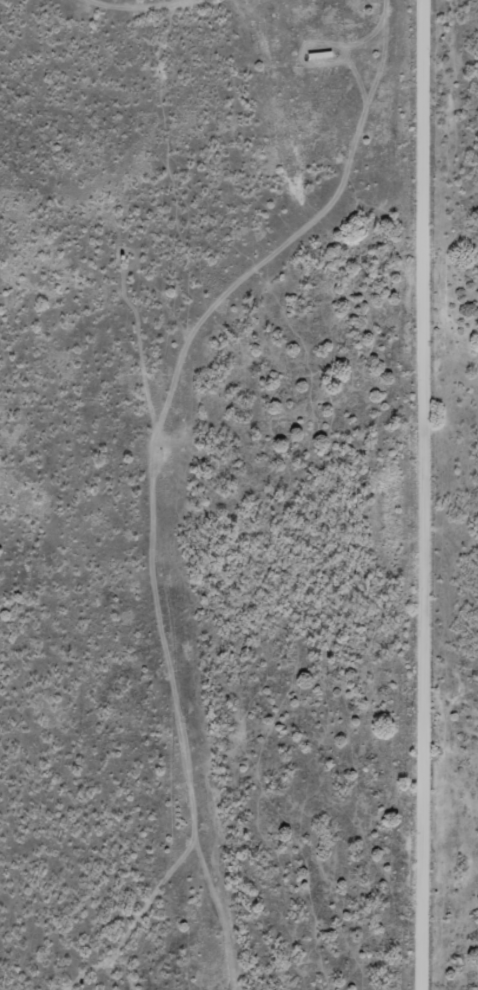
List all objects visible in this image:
road: (413, 495)

